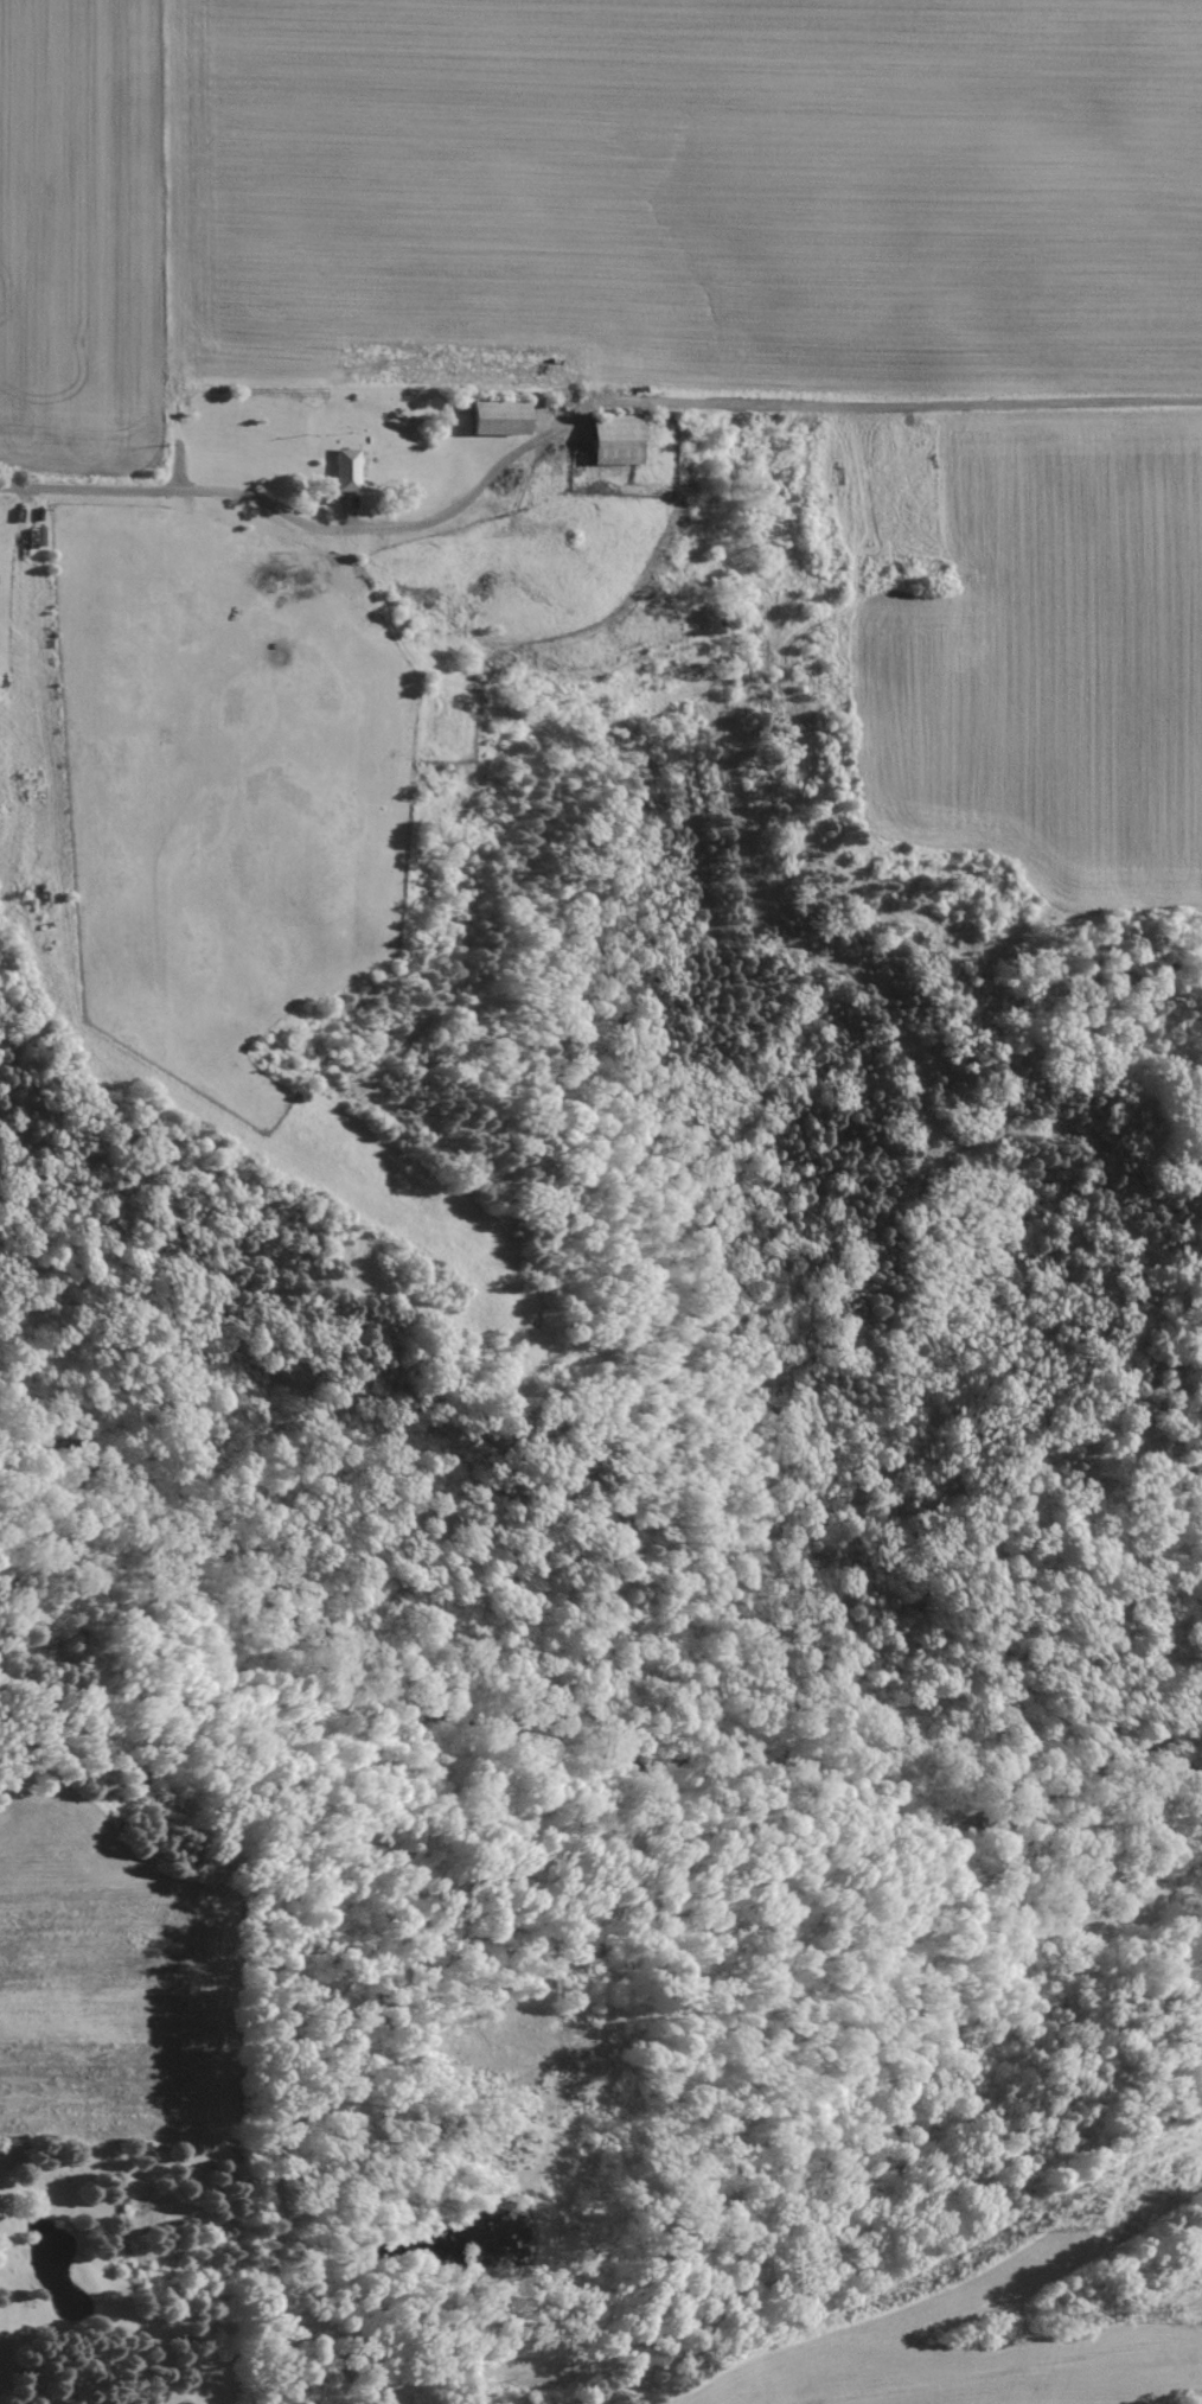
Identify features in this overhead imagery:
building: (500, 417)
building: (616, 440)
building: (346, 470)
road: (280, 508)
power tower: (1085, 2224)
power tower: (1197, 2311)

